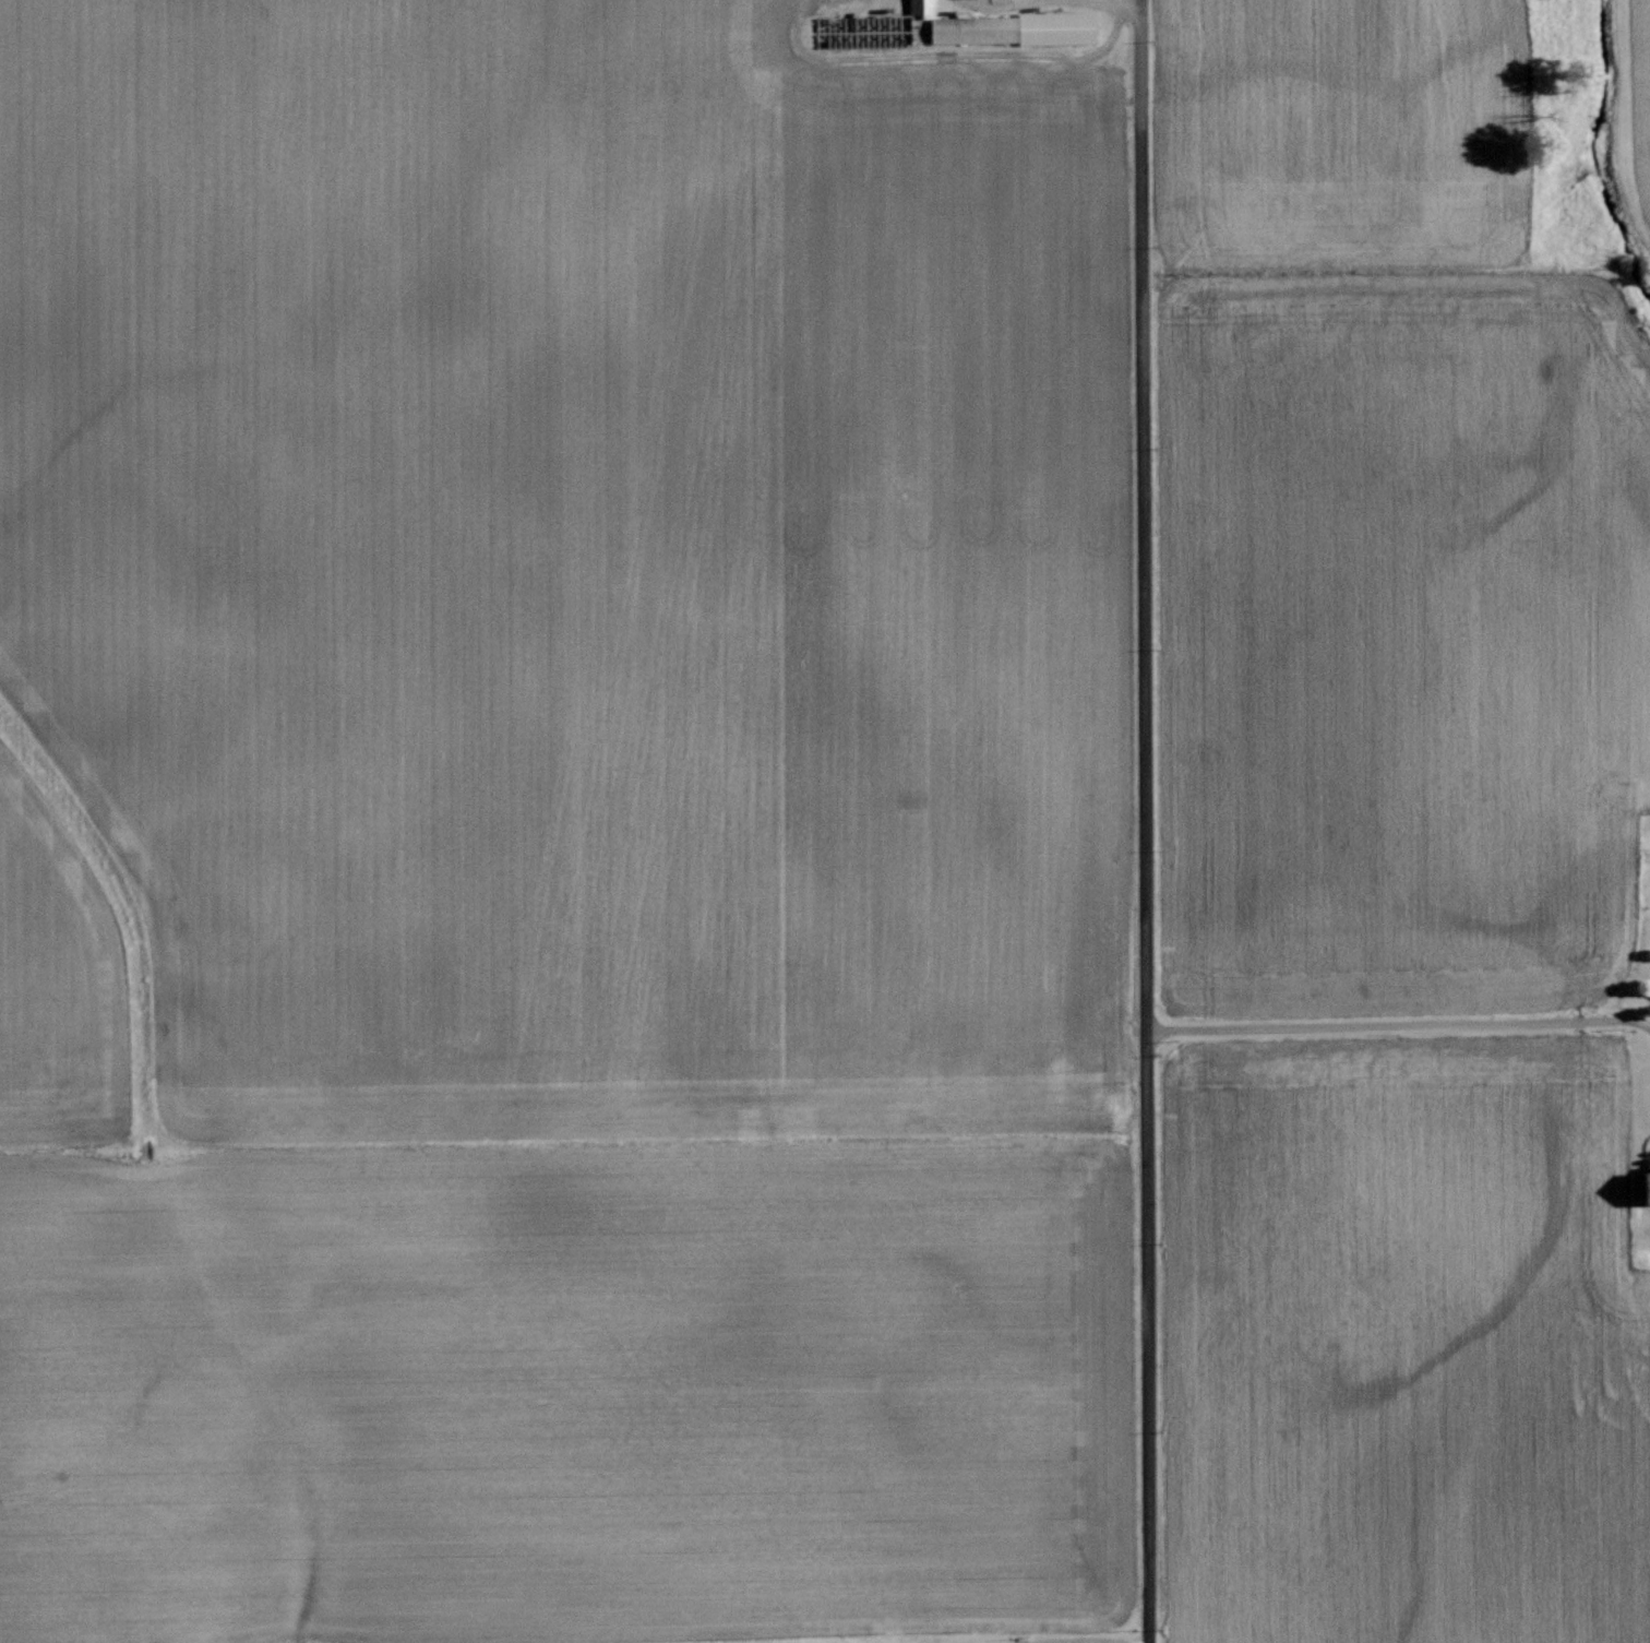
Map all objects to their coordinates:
road: (1144, 821)
road: (1398, 1027)
building: (1645, 1188)

